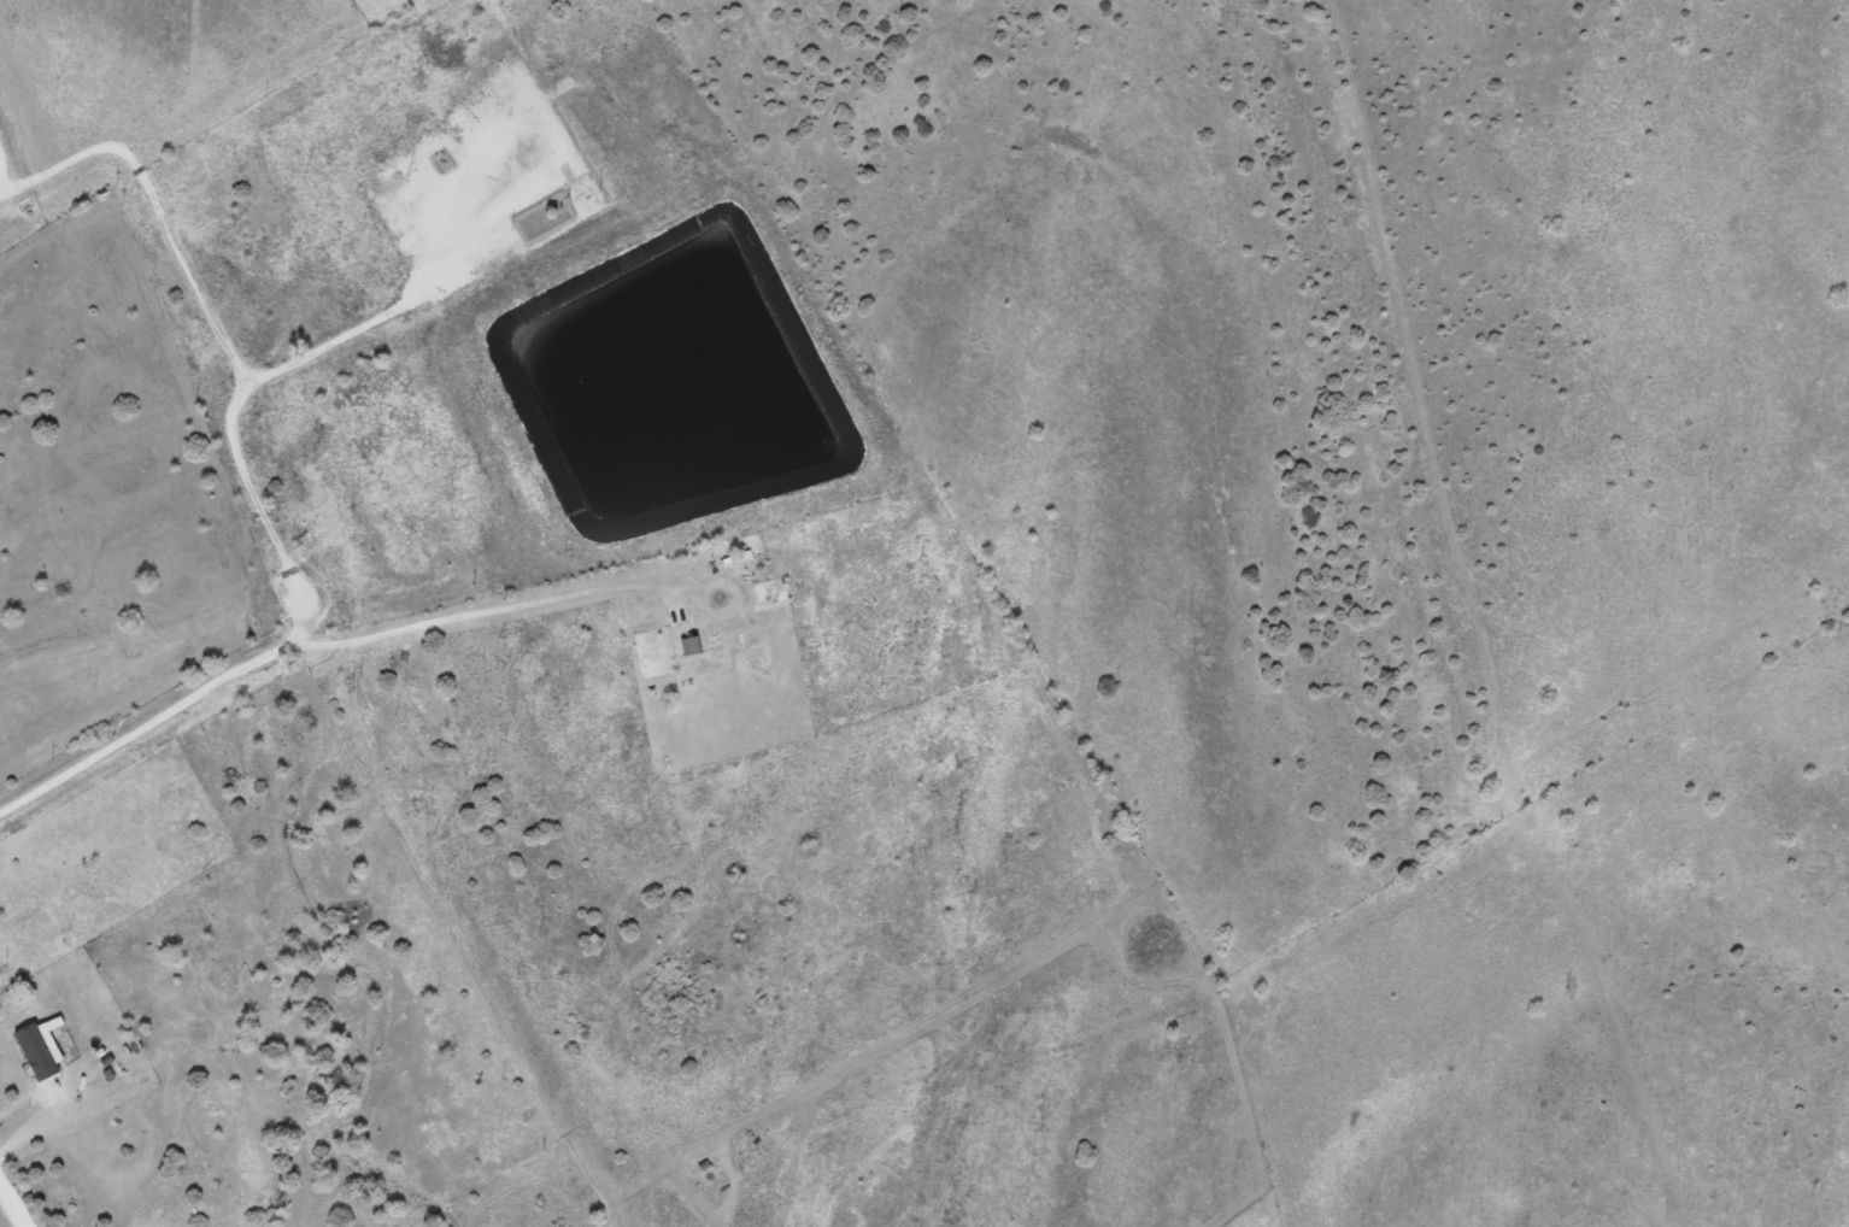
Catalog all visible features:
road: (1, 180)
road: (155, 204)
road: (293, 582)
road: (482, 605)
building: (692, 646)
building: (37, 1053)
road: (13, 1204)

